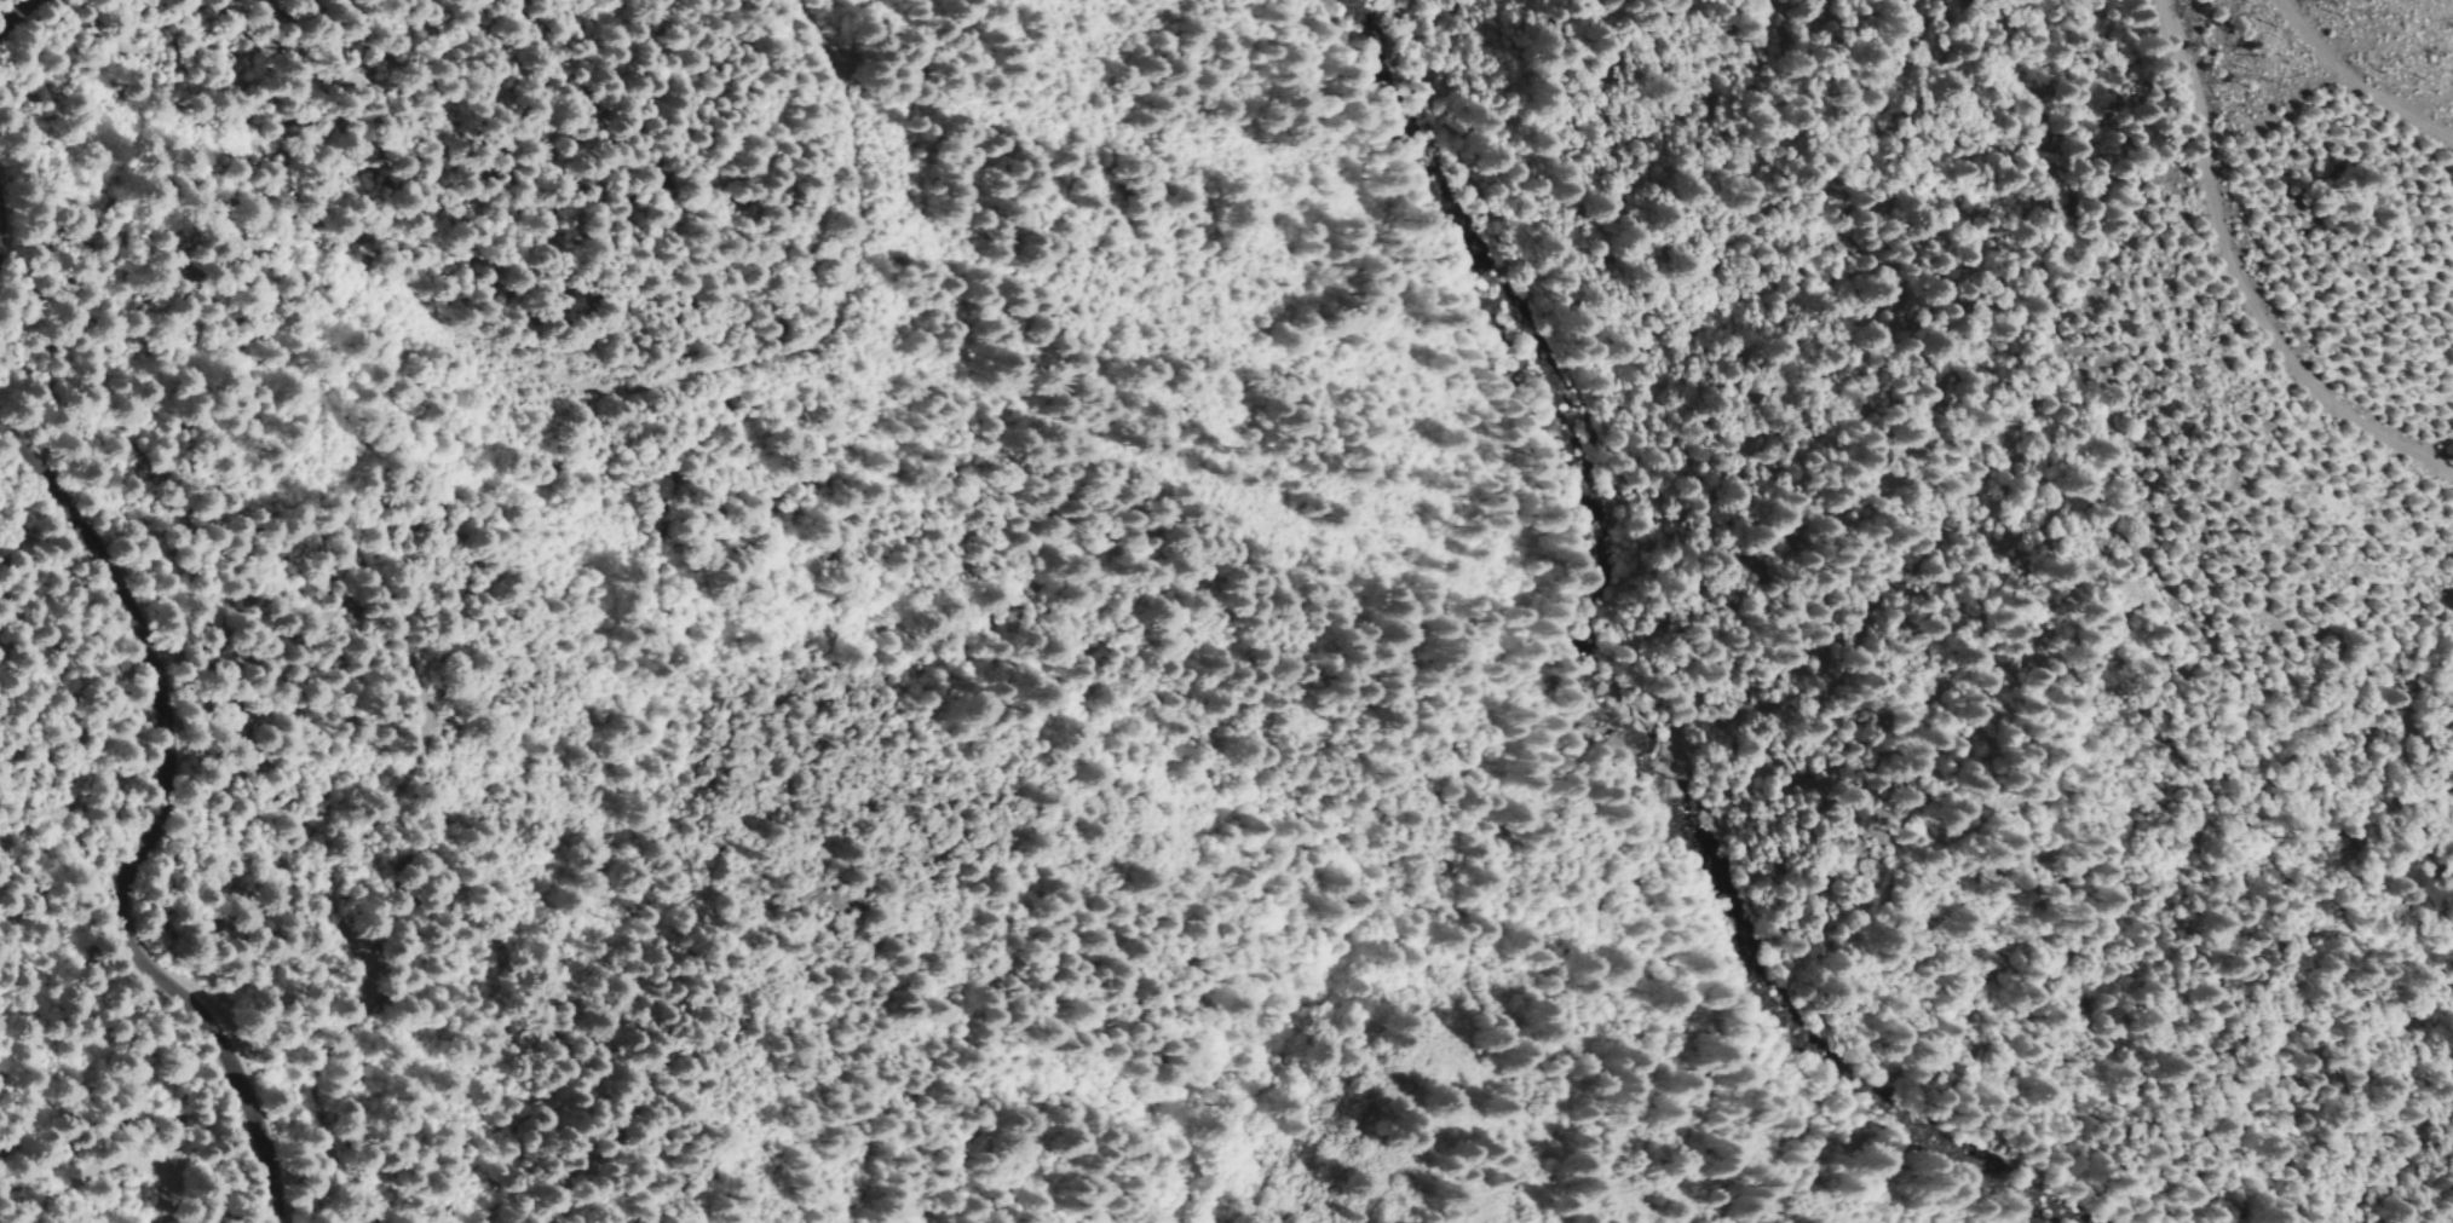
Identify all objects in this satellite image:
road: (17, 16)
river: (1539, 415)
road: (148, 835)
river: (1832, 1081)

